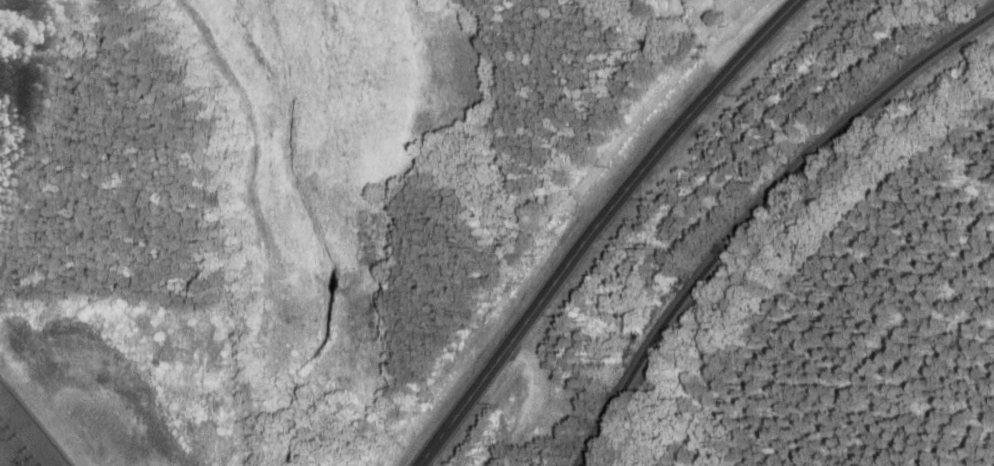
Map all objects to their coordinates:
railway: (757, 211)
road: (598, 223)

